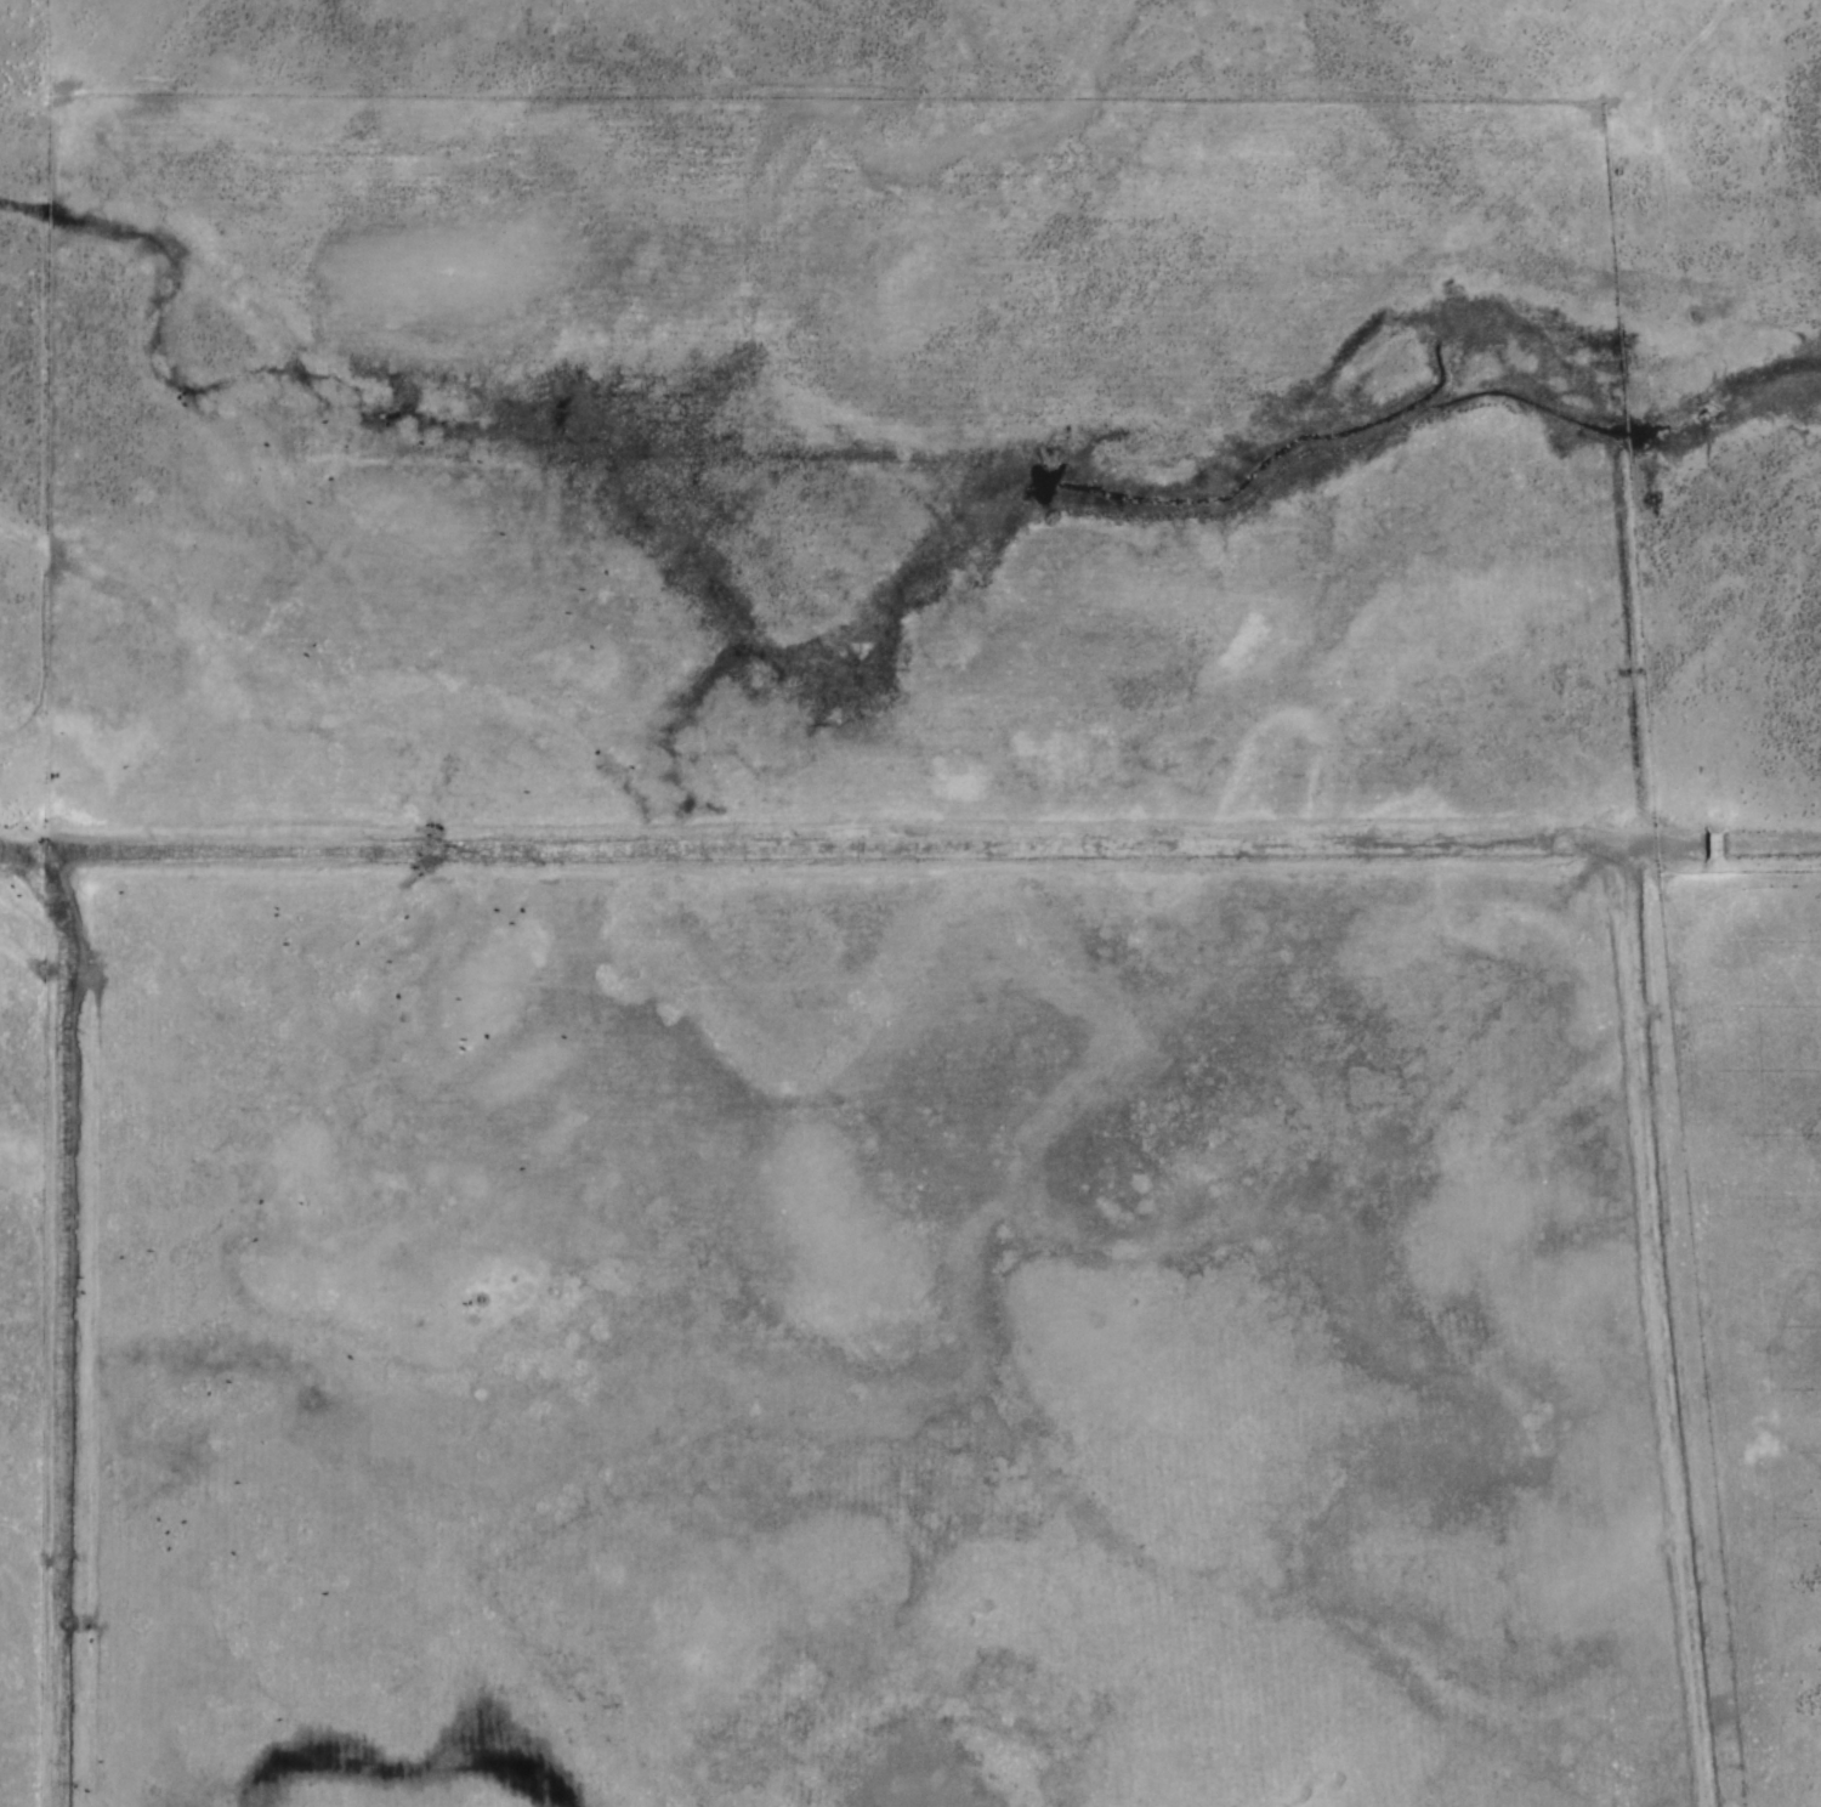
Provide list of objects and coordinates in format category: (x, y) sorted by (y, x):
crop: (910, 903)

